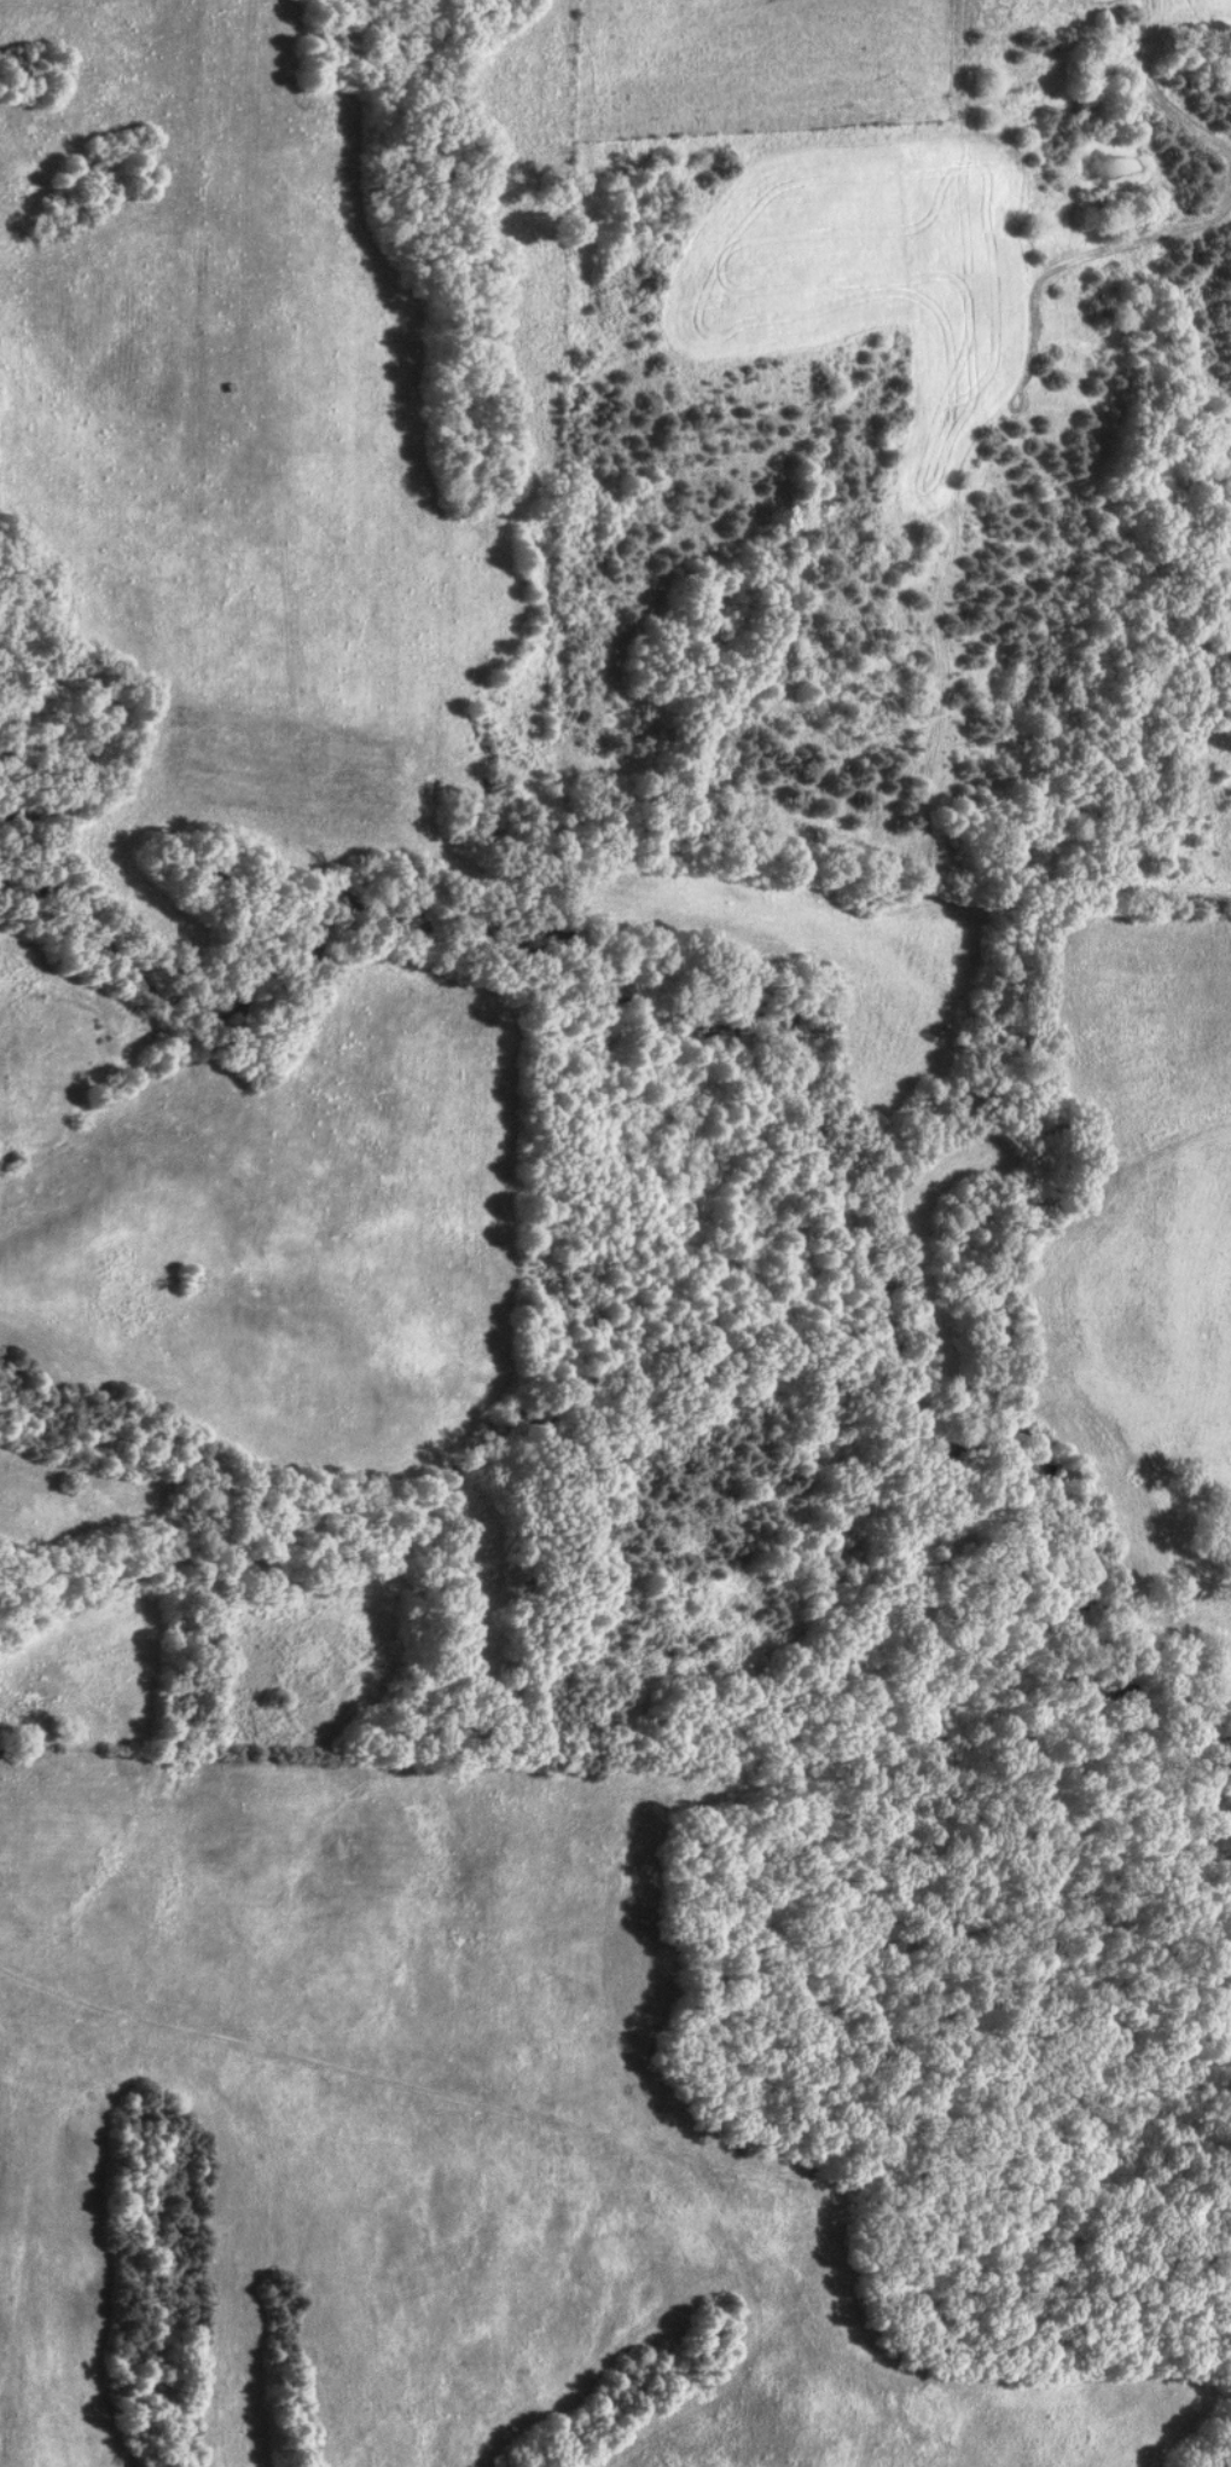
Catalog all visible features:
road: (574, 41)

